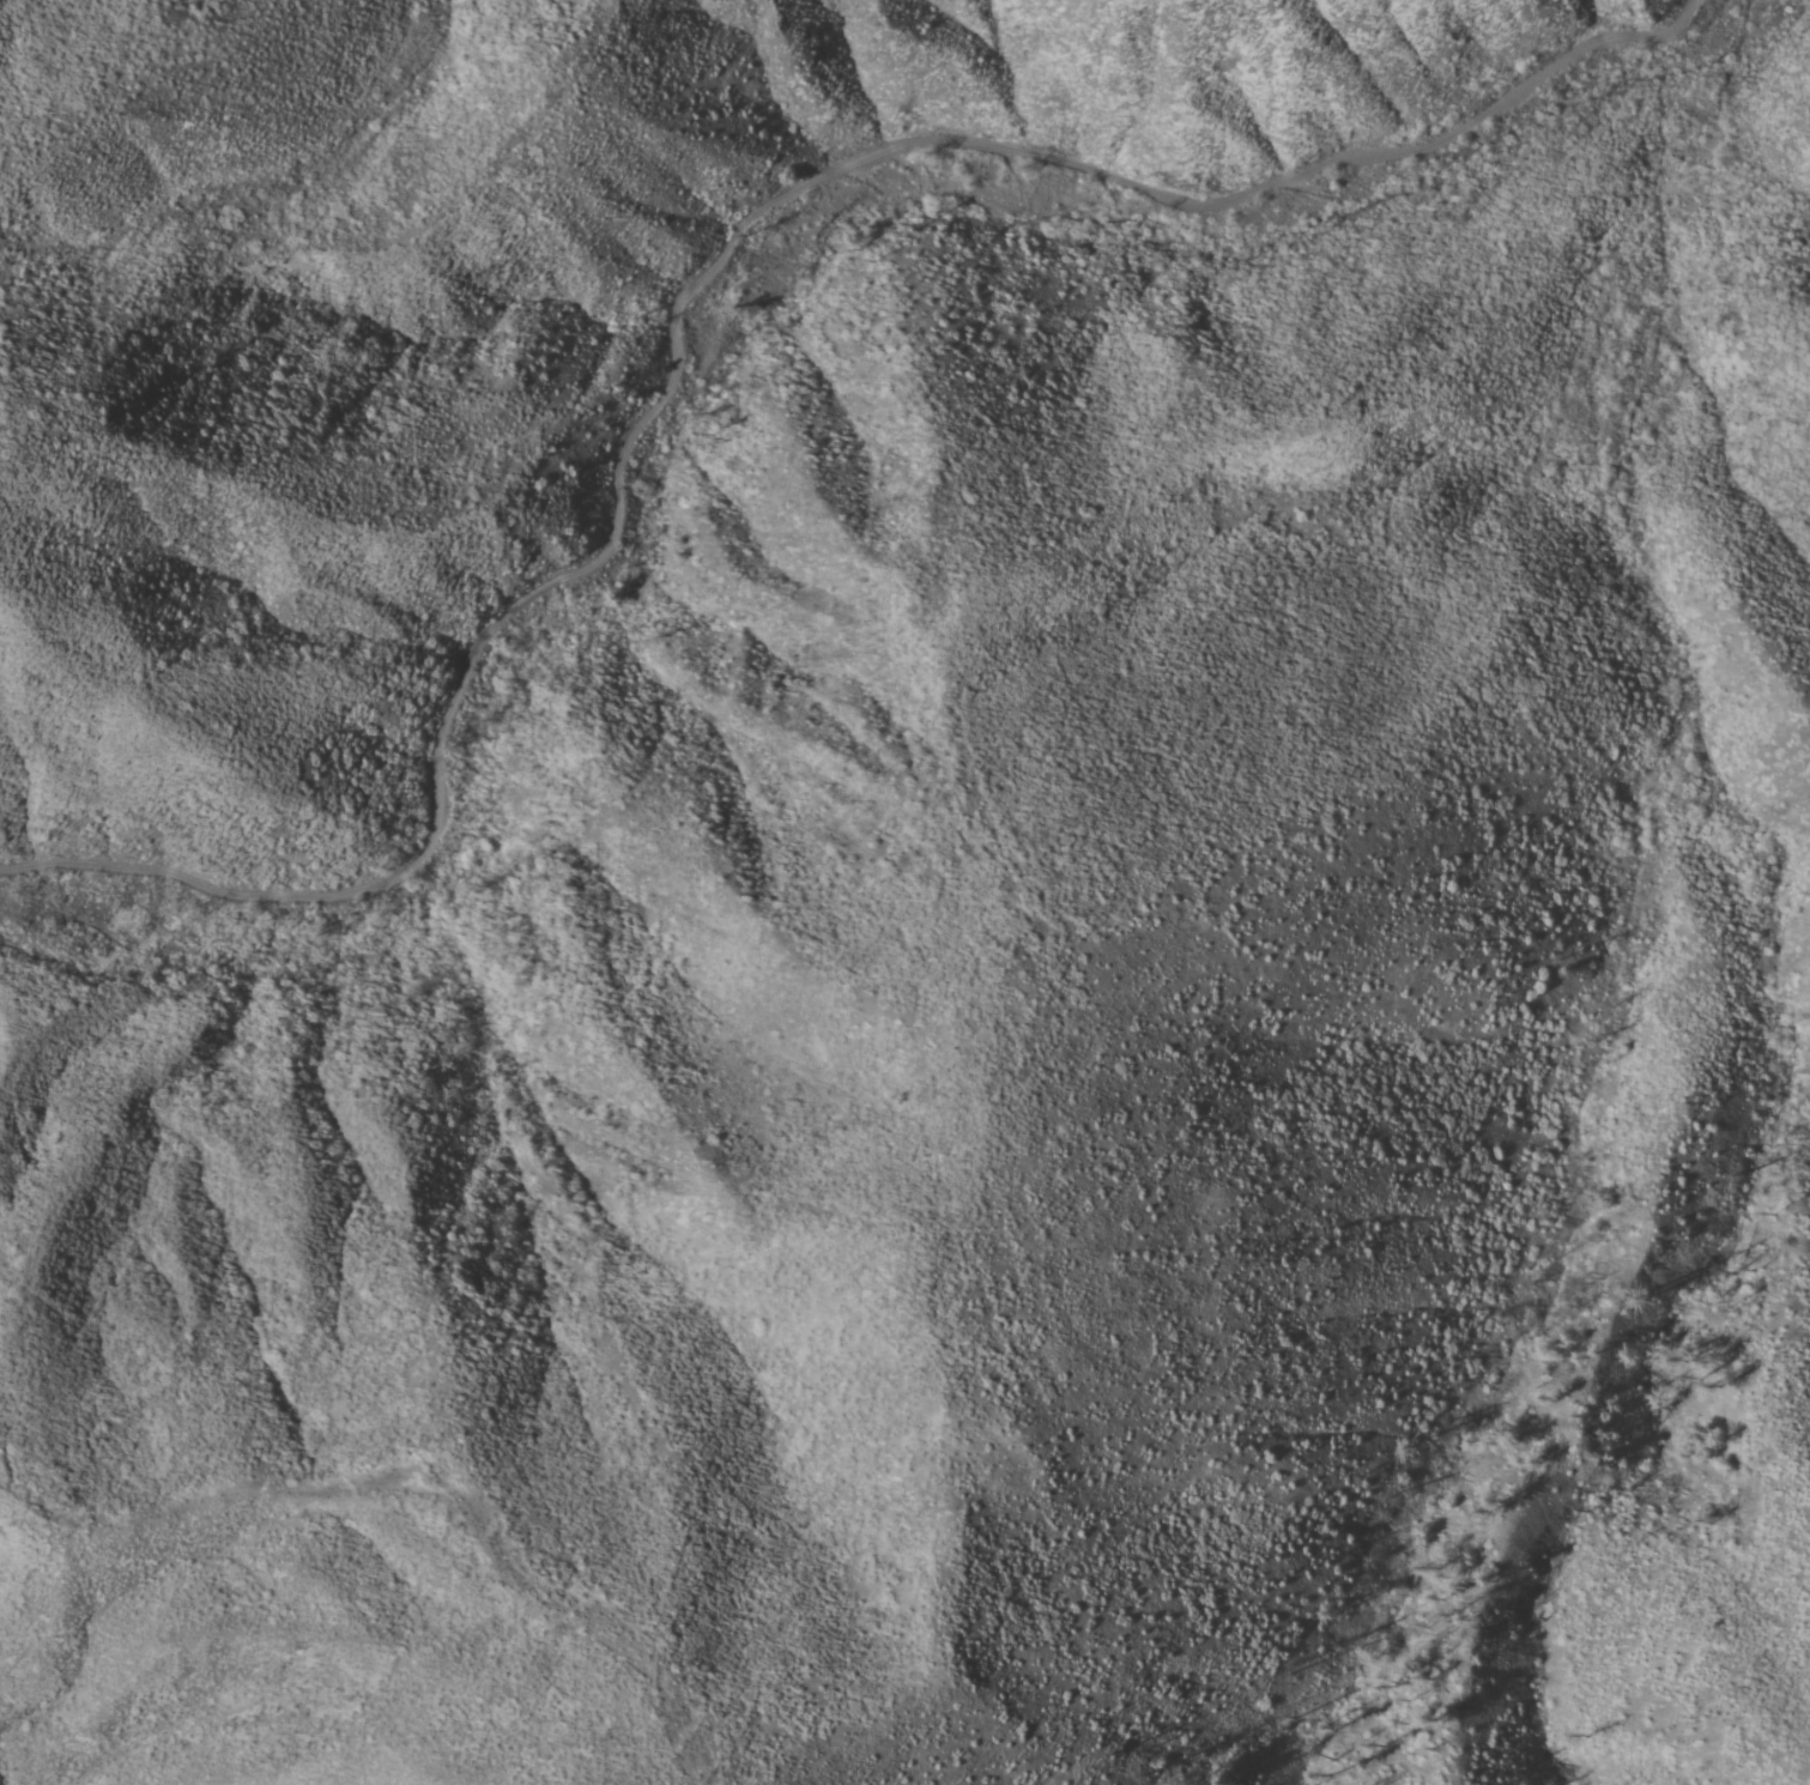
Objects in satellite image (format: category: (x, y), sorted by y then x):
road: (691, 284)

